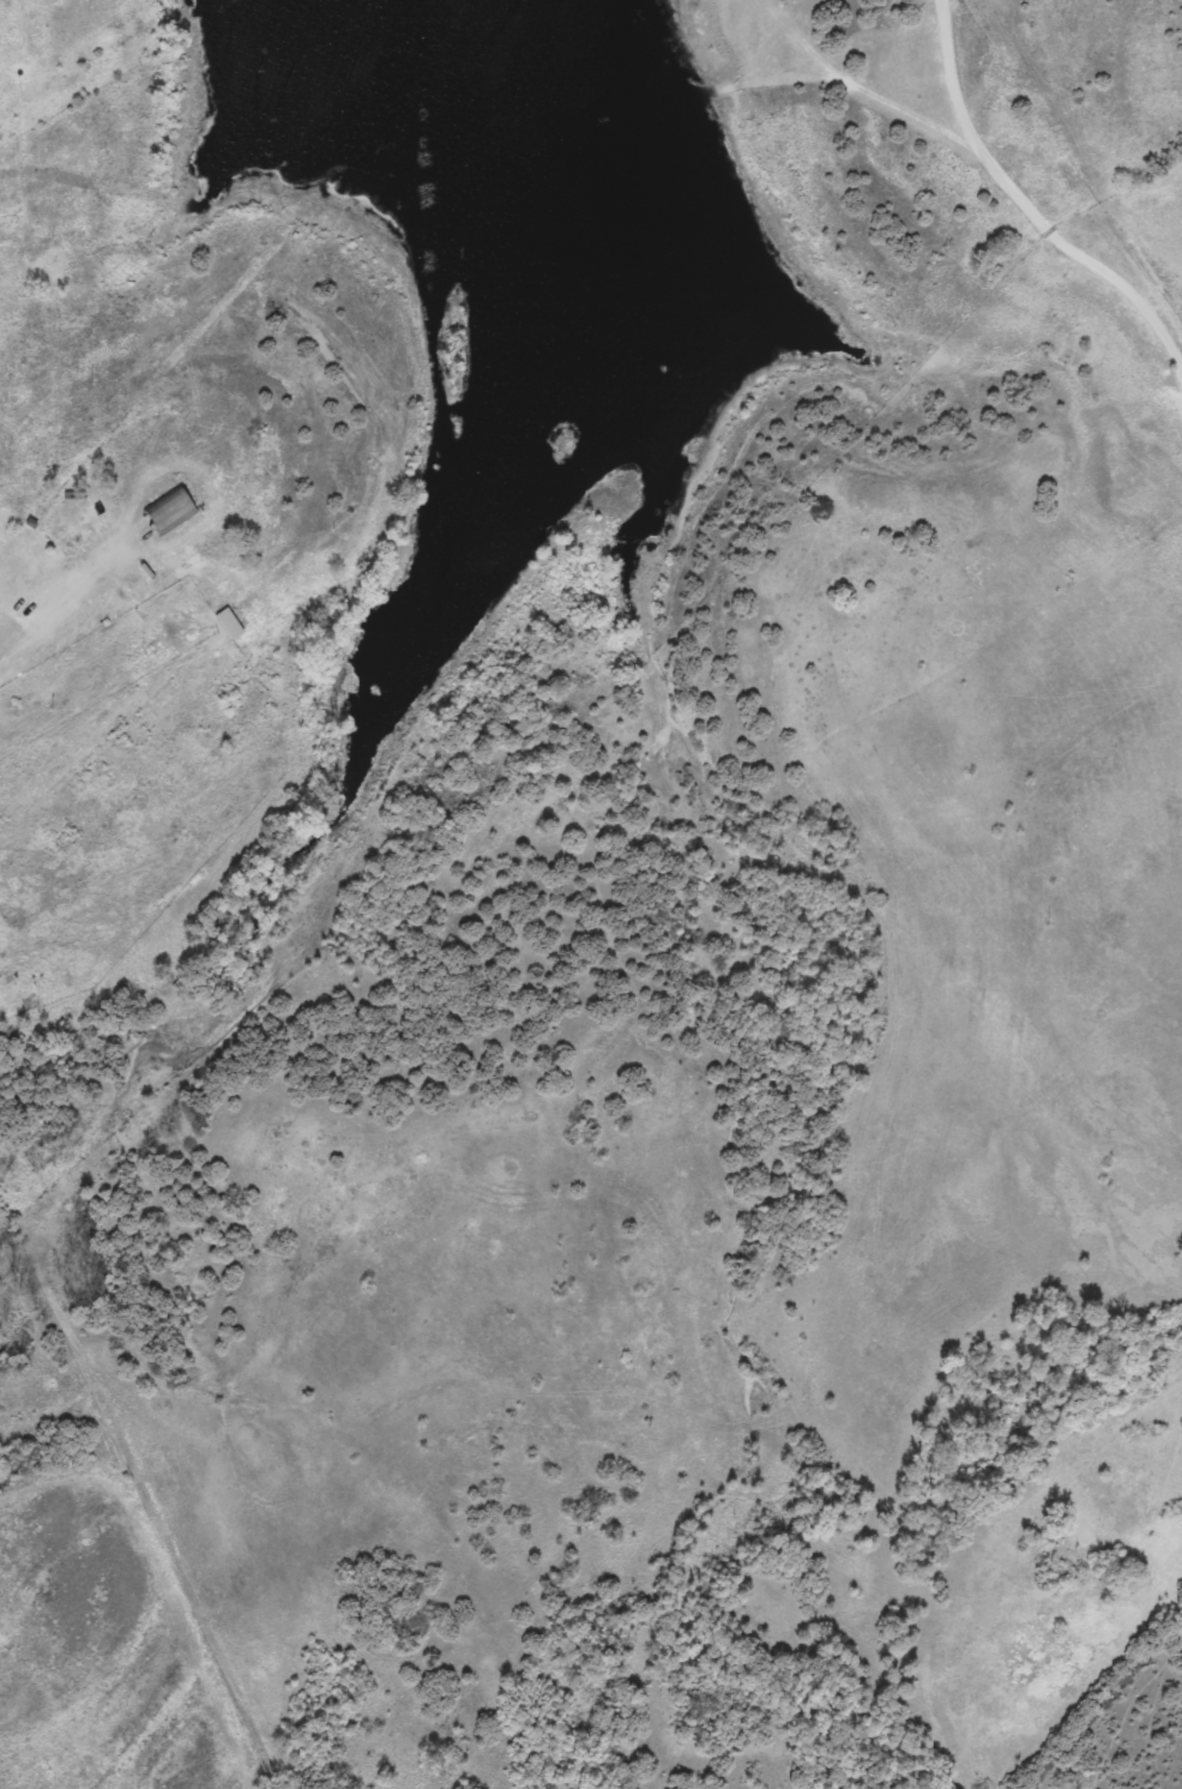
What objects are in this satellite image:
road: (849, 72)
road: (954, 73)
road: (1032, 213)
building: (171, 510)
building: (78, 520)

